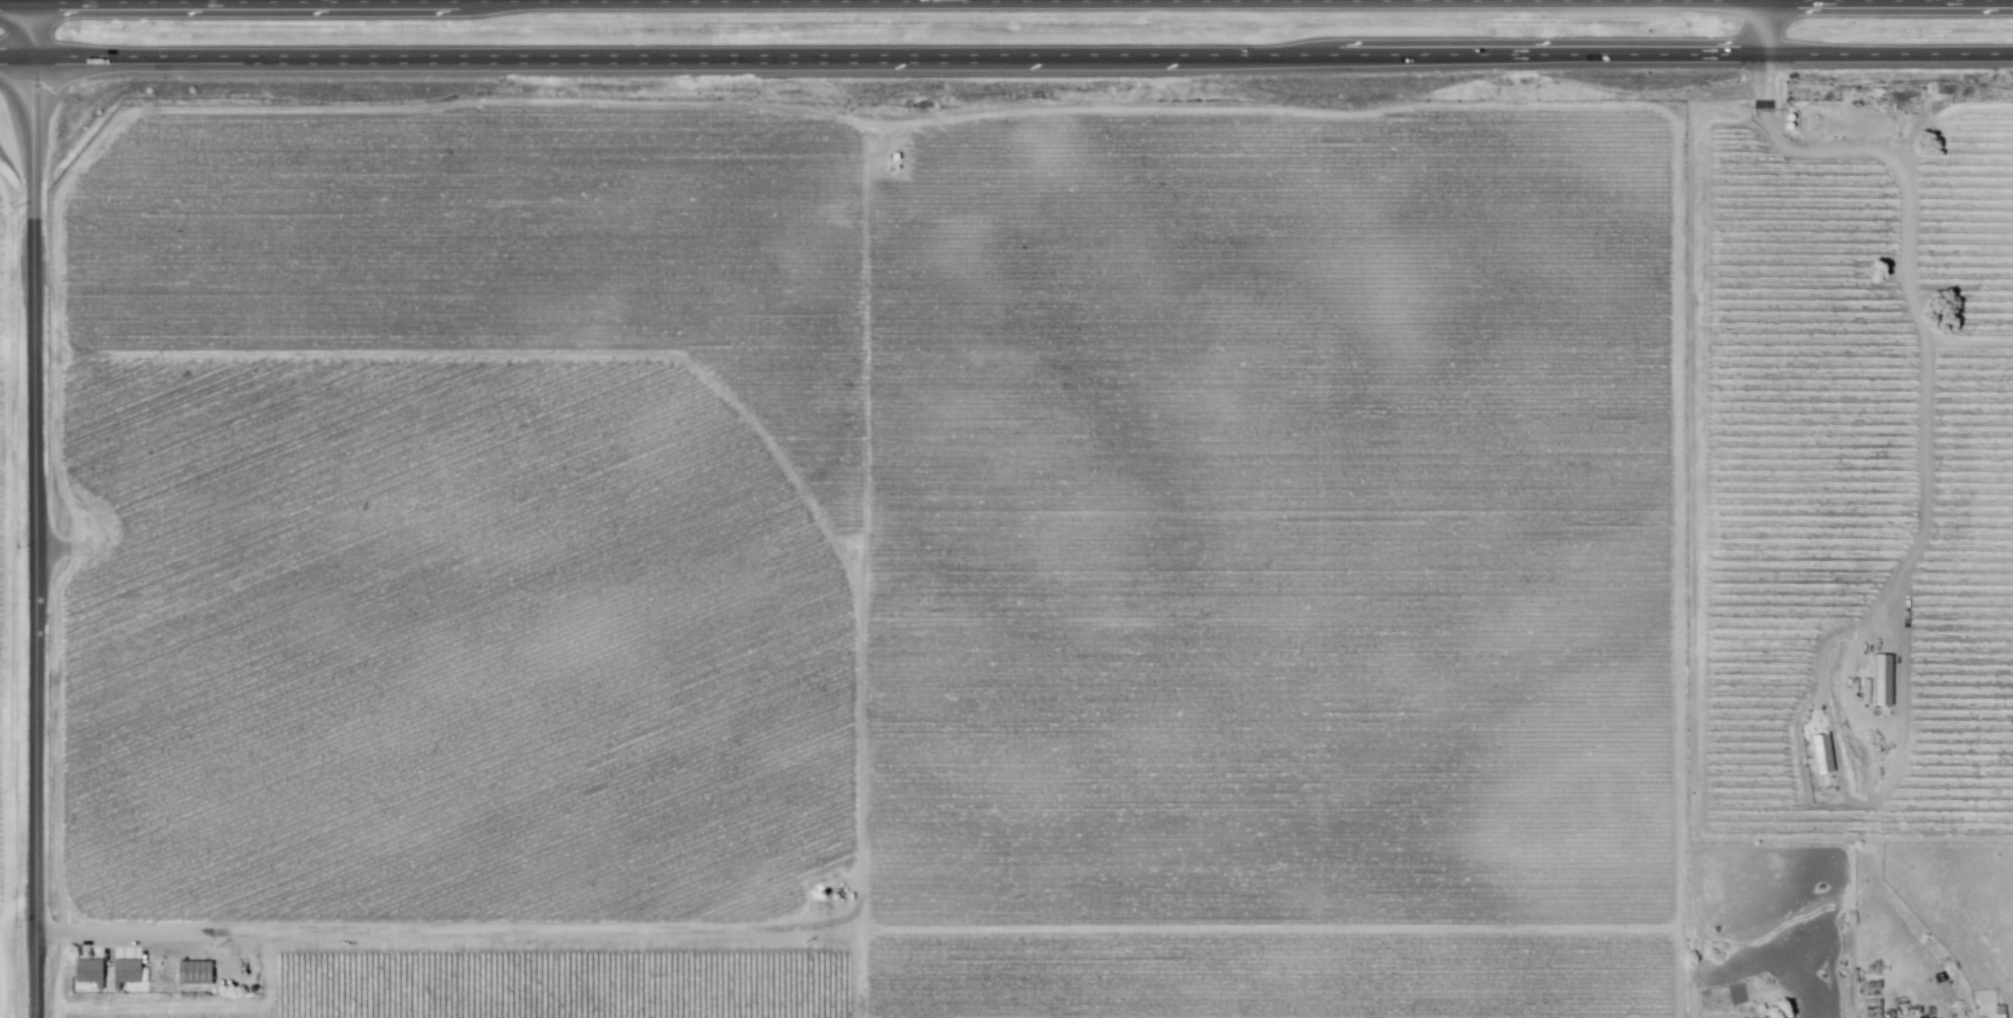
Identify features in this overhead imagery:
road: (1775, 1)
road: (1022, 2)
road: (16, 4)
road: (1763, 27)
road: (1022, 55)
road: (16, 57)
road: (98, 153)
road: (1691, 197)
road: (870, 225)
road: (1911, 301)
road: (35, 511)
road: (864, 579)
building: (1887, 683)
building: (1825, 754)
building: (1837, 791)
road: (1277, 932)
road: (451, 935)
building: (94, 974)
building: (131, 974)
building: (199, 974)
road: (863, 975)
road: (1691, 975)
road: (198, 1008)

